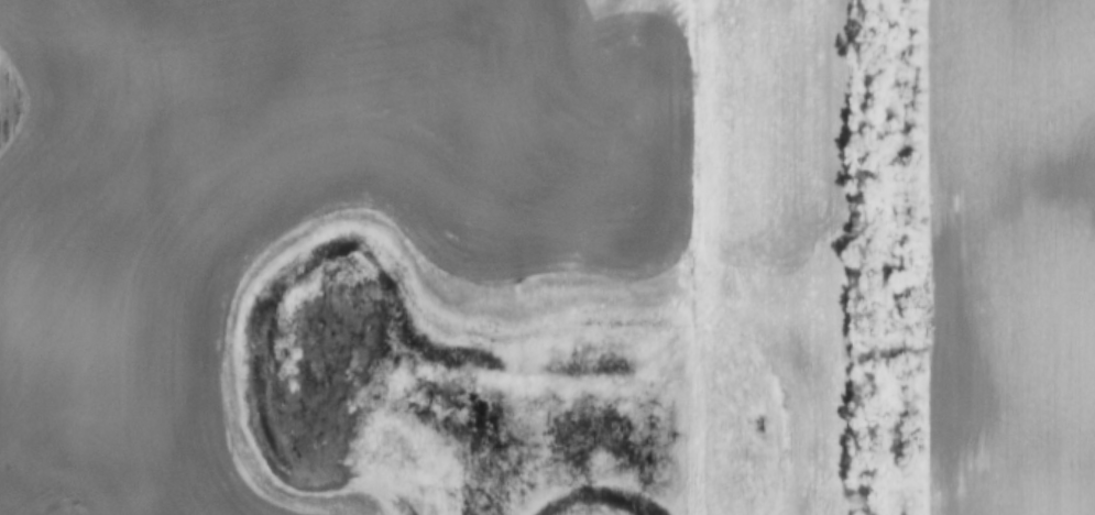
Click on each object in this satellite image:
road: (697, 257)

